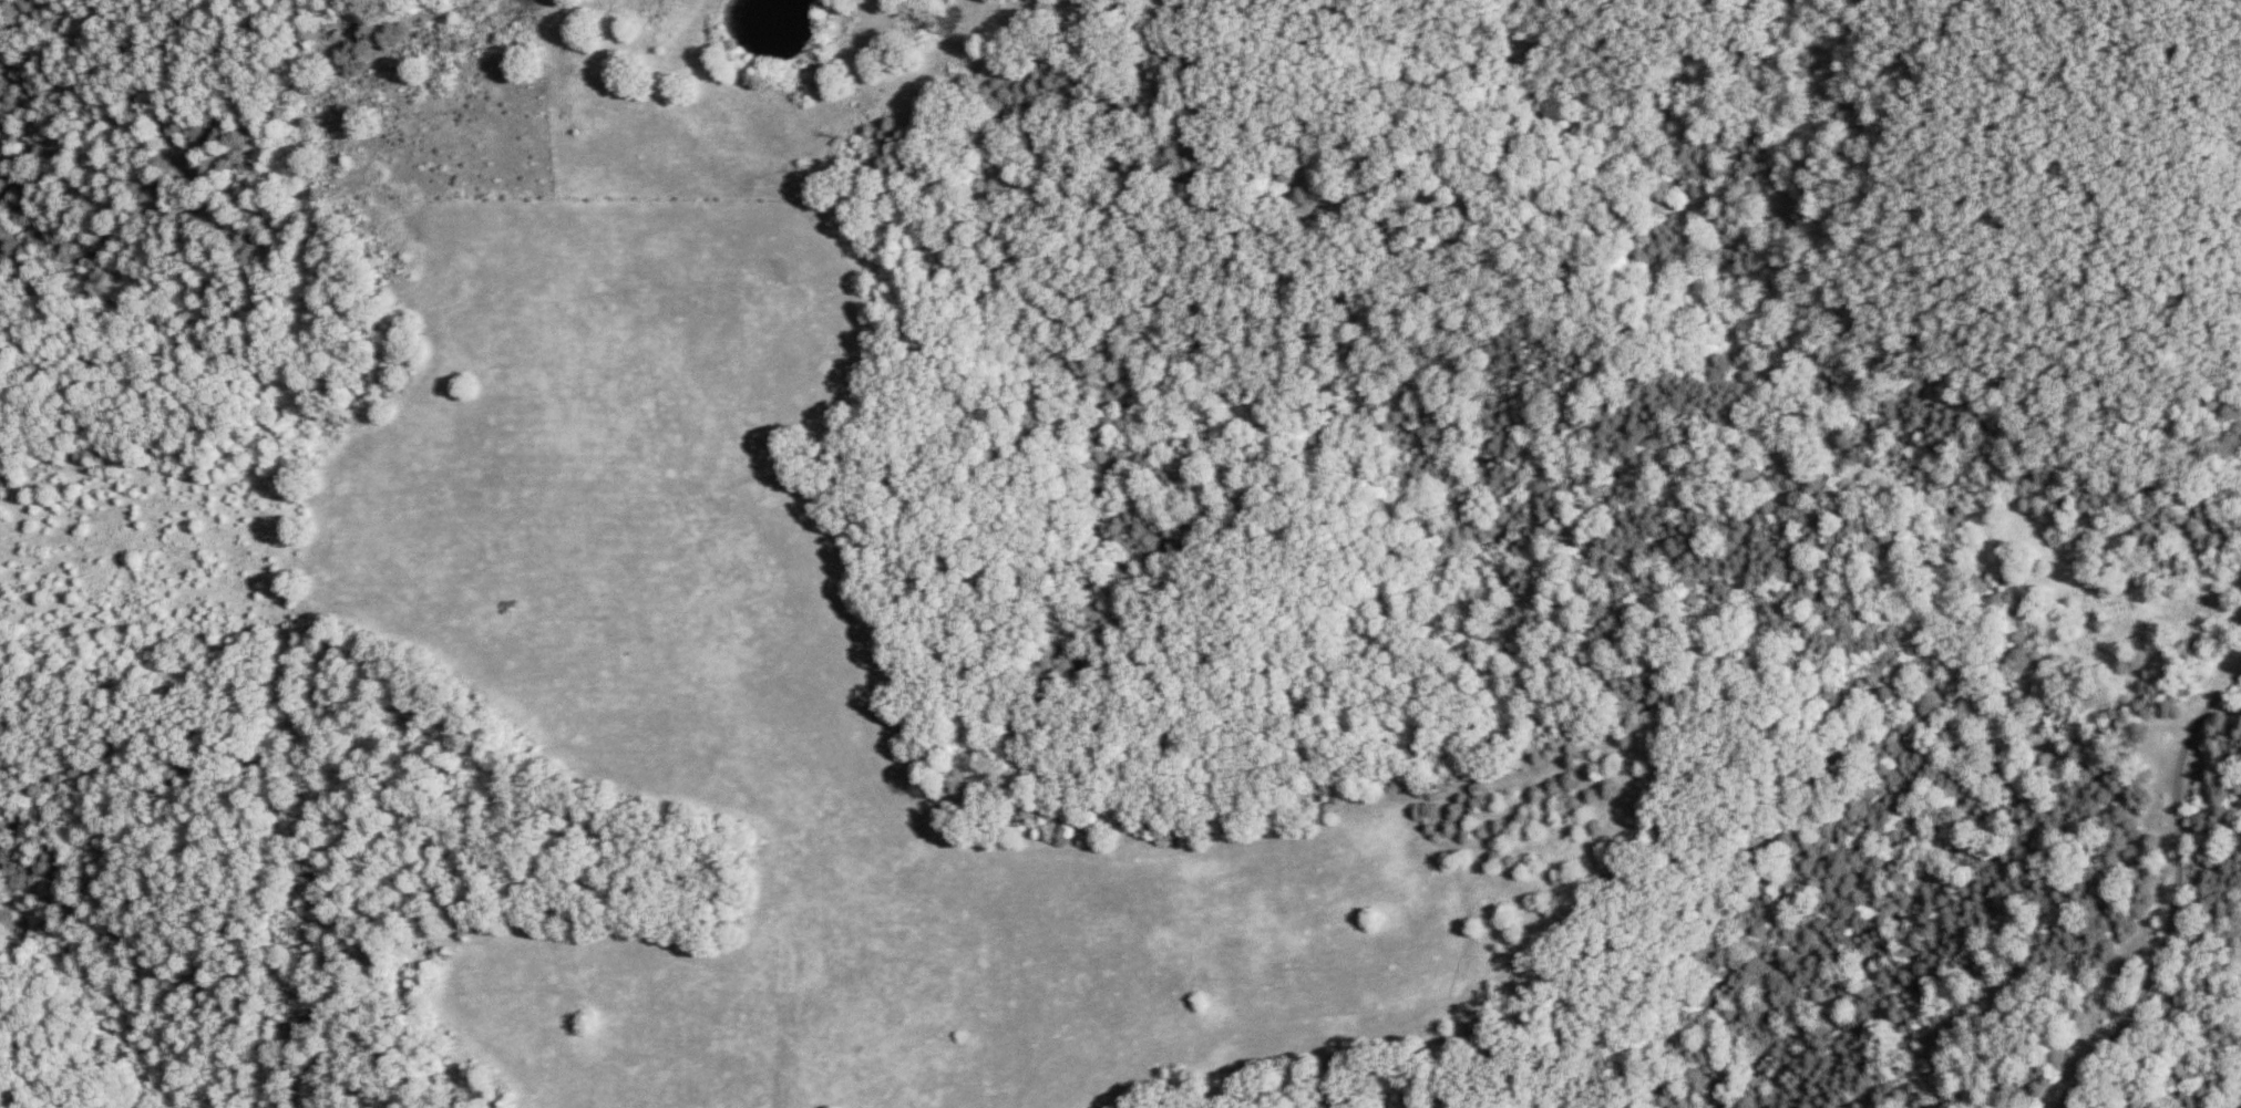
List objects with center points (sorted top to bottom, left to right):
road: (2181, 900)

